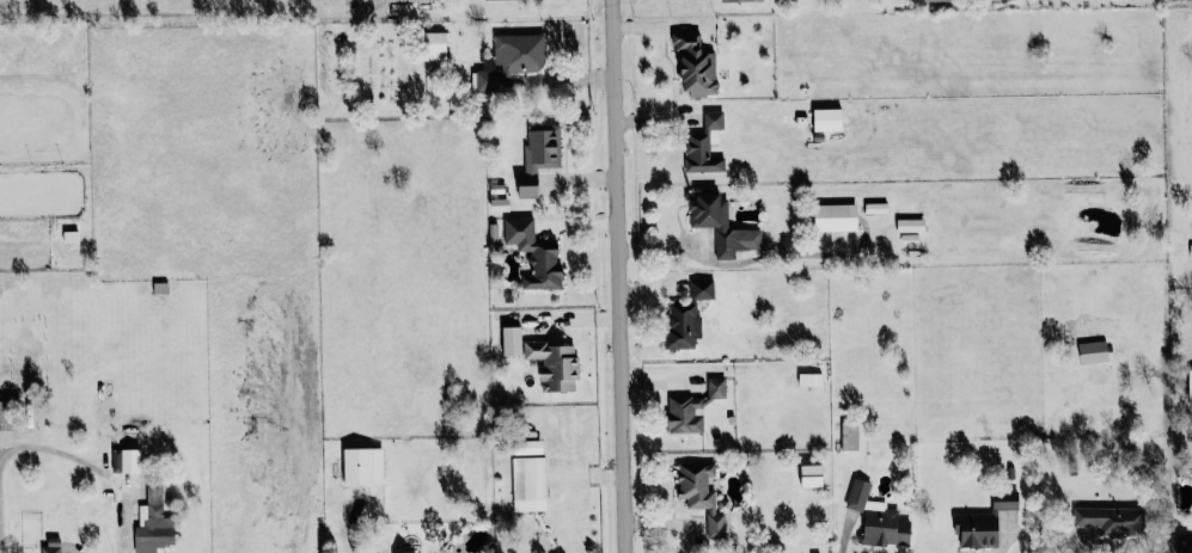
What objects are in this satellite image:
building: (403, 0)
building: (740, 0)
building: (936, 0)
building: (434, 45)
building: (512, 60)
building: (696, 67)
building: (827, 119)
building: (705, 145)
building: (538, 156)
building: (876, 208)
building: (836, 216)
building: (911, 225)
building: (722, 226)
building: (534, 253)
road: (618, 276)
building: (687, 315)
building: (511, 340)
building: (1093, 352)
building: (556, 364)
building: (809, 379)
building: (1190, 386)
building: (695, 407)
building: (2, 414)
building: (850, 436)
road: (50, 448)
building: (130, 461)
building: (362, 466)
building: (811, 475)
building: (528, 484)
building: (702, 494)
building: (1005, 496)
building: (878, 517)
building: (1112, 520)
building: (152, 522)
building: (980, 526)
road: (843, 541)
building: (1184, 543)
building: (50, 545)
road: (1003, 545)
road: (1080, 546)
building: (403, 552)

